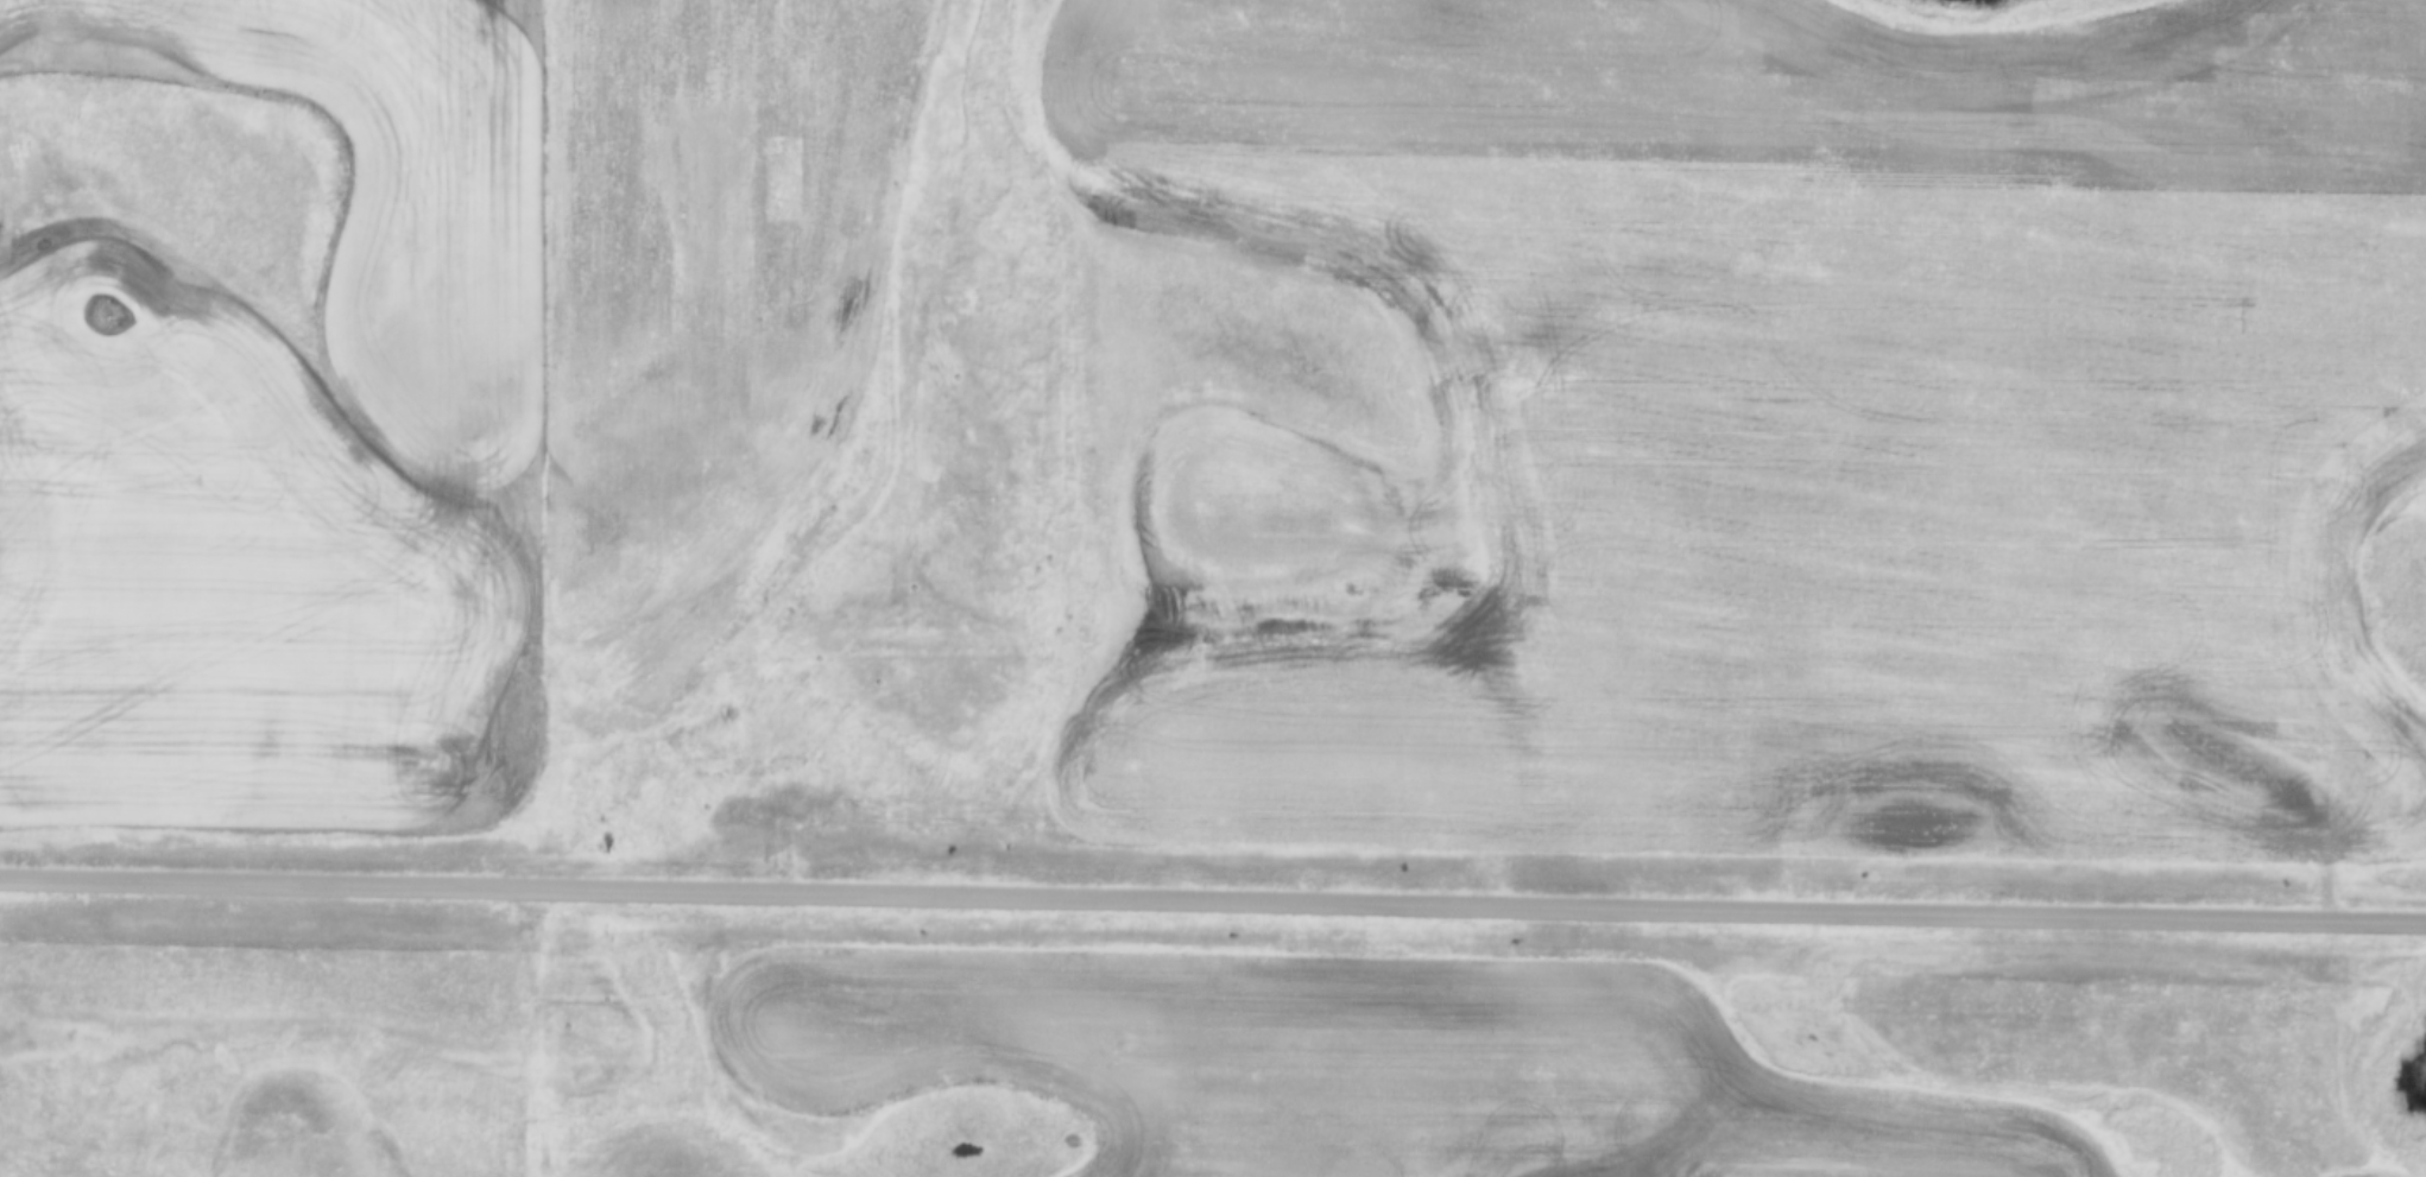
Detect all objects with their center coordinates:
road: (1213, 904)

